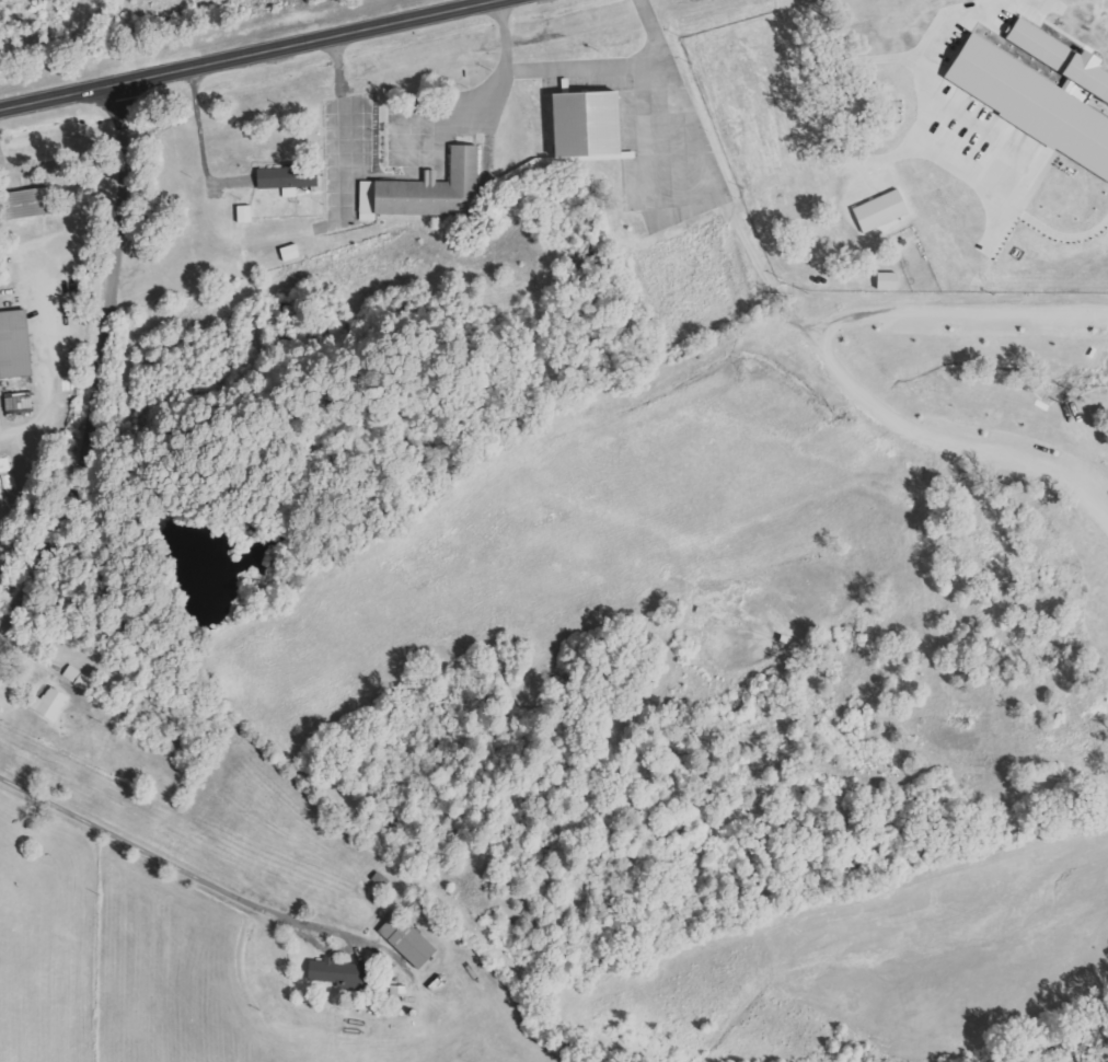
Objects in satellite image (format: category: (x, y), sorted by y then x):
road: (231, 50)
building: (1054, 58)
building: (1027, 104)
building: (579, 123)
building: (290, 178)
building: (427, 189)
building: (30, 204)
building: (875, 211)
building: (246, 213)
building: (291, 253)
building: (881, 280)
road: (962, 314)
building: (16, 345)
road: (103, 363)
building: (21, 403)
road: (951, 441)
building: (78, 679)
building: (50, 703)
road: (152, 855)
building: (409, 939)
building: (338, 971)

